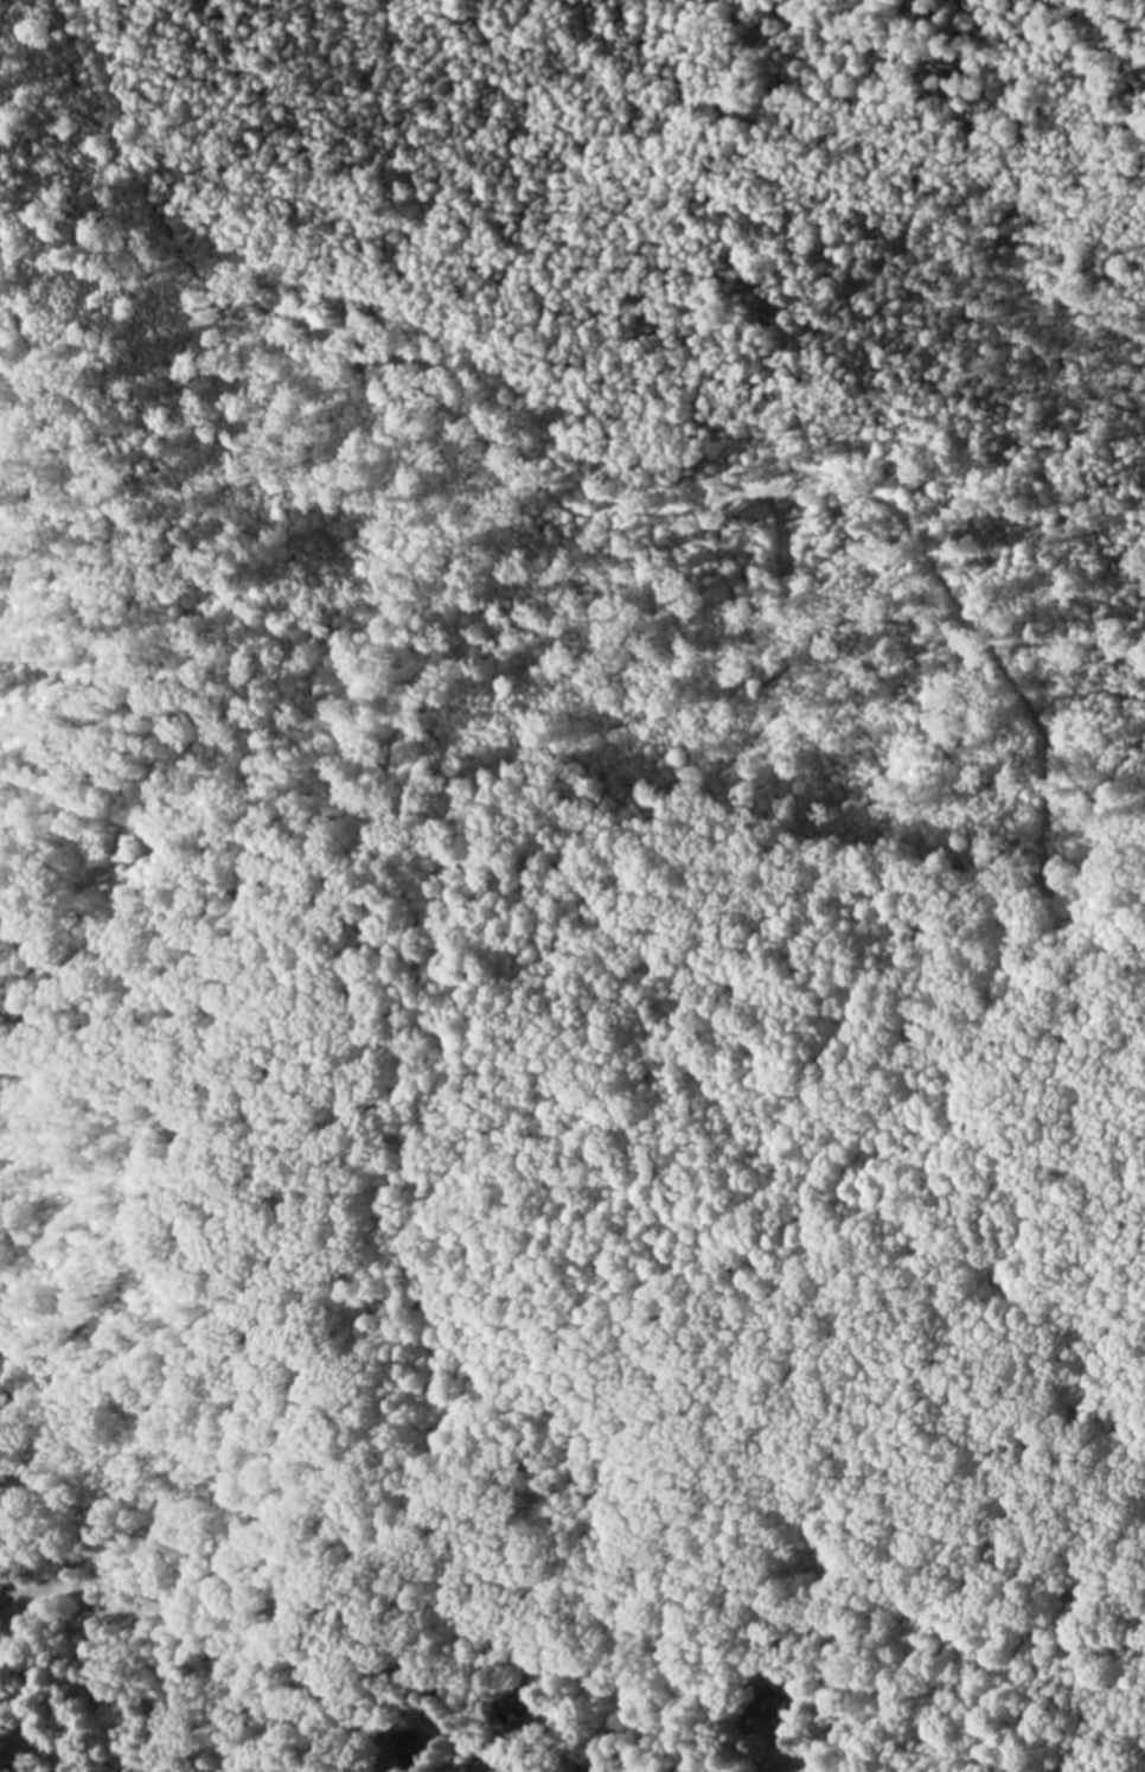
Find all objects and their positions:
building: (12, 1770)

